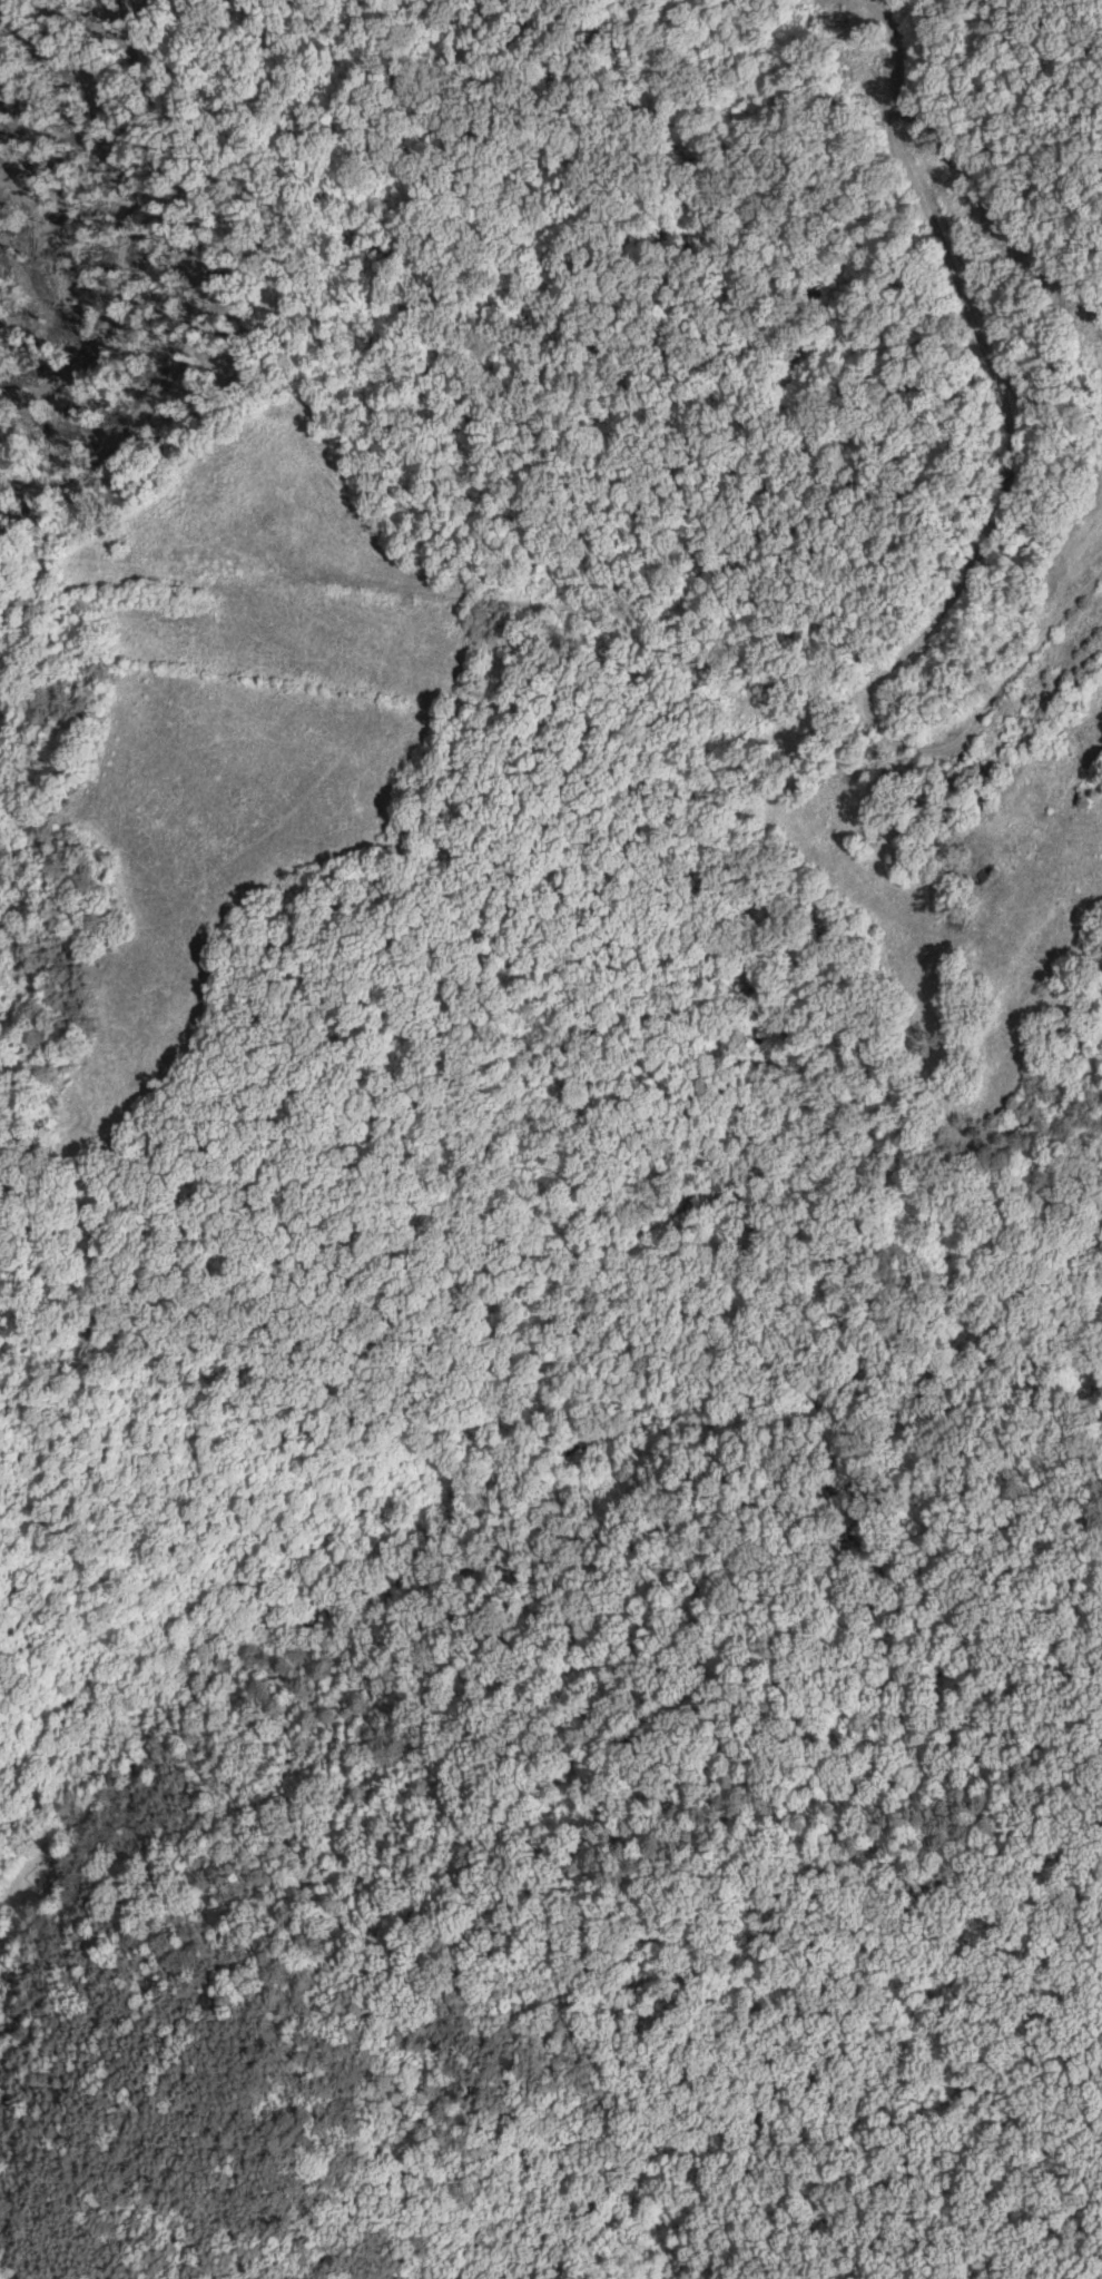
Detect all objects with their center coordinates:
road: (998, 521)

